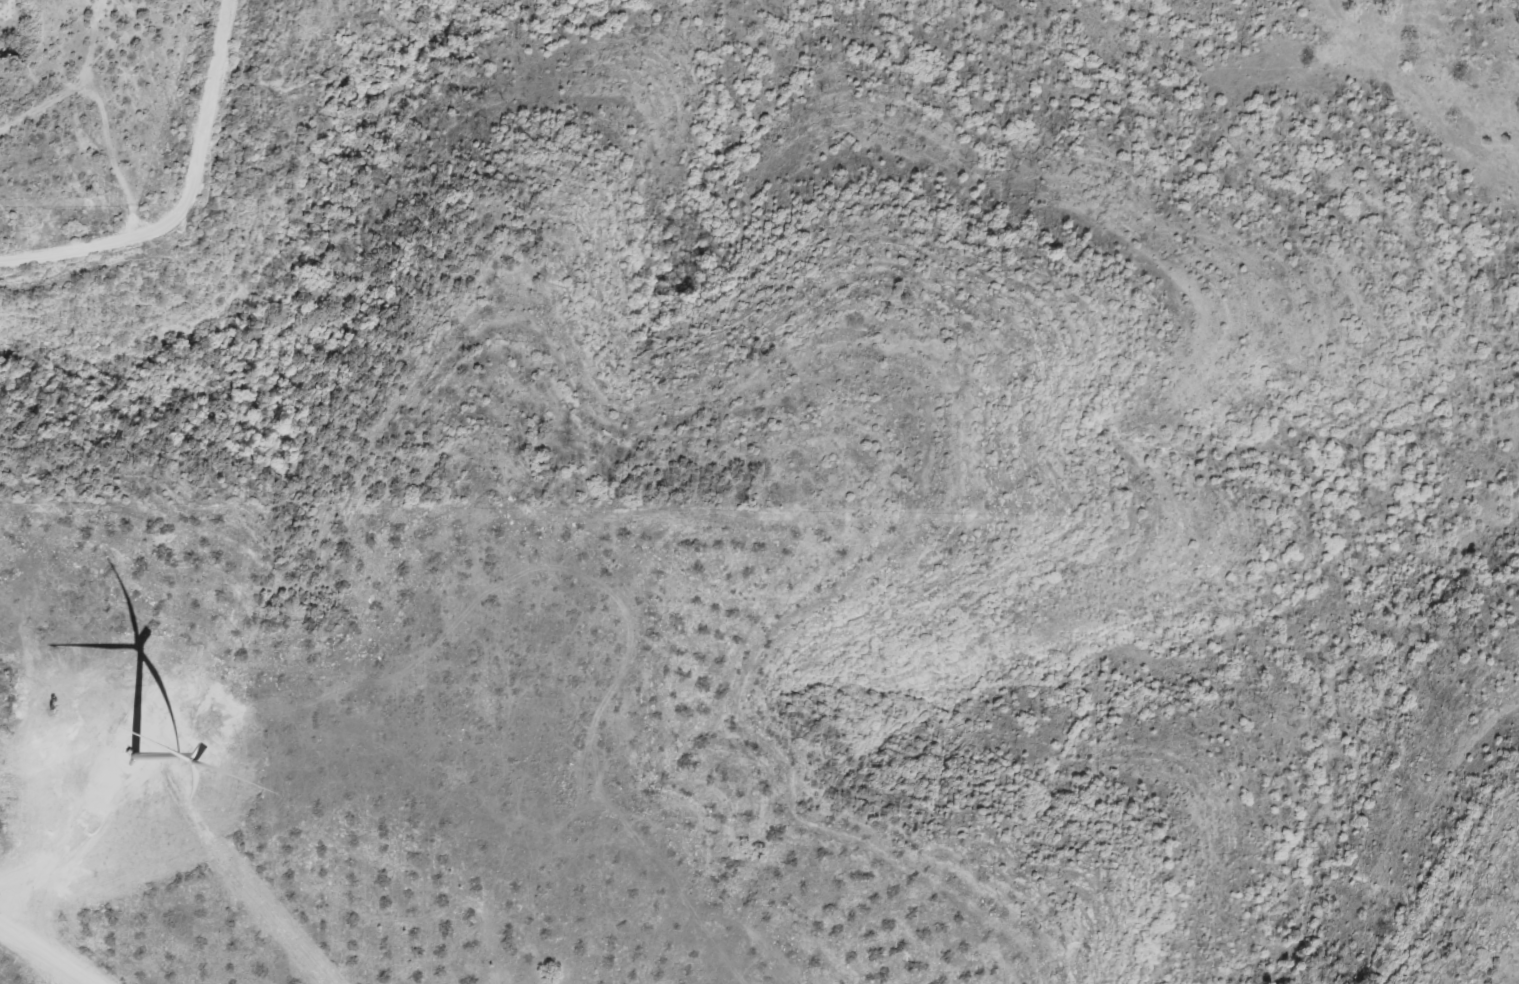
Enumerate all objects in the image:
road: (188, 200)
wind turbine: (132, 751)
road: (107, 919)

